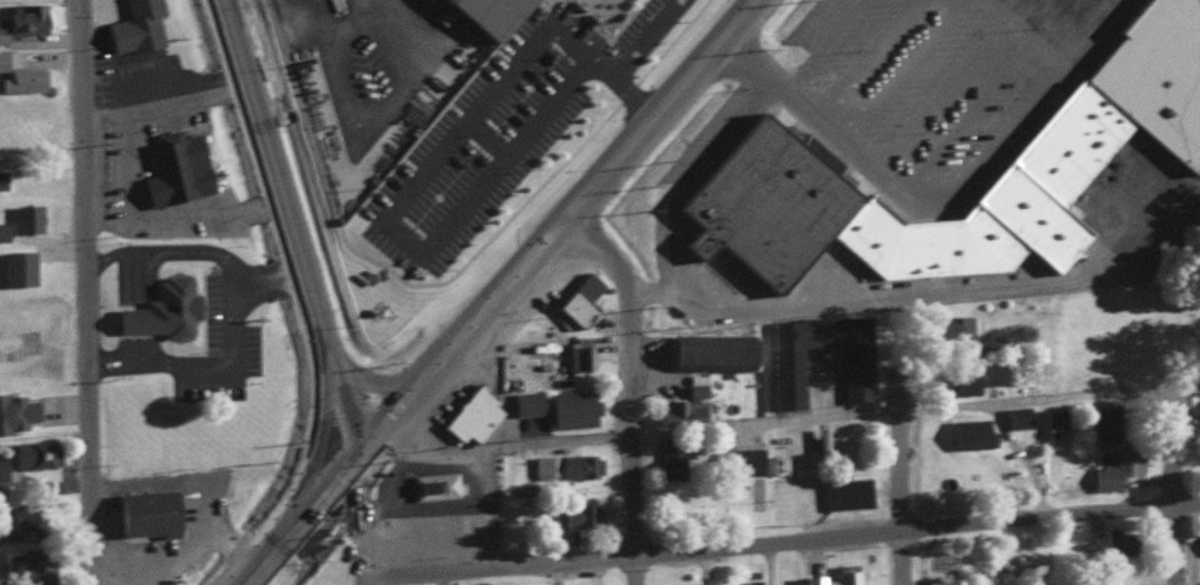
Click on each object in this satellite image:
road: (1104, 8)
building: (506, 13)
building: (21, 18)
road: (731, 19)
road: (416, 21)
road: (373, 24)
parking lot: (657, 24)
building: (133, 25)
road: (1046, 28)
road: (670, 29)
road: (619, 37)
road: (818, 46)
road: (860, 59)
road: (636, 68)
building: (18, 71)
road: (900, 71)
parking lot: (936, 79)
road: (631, 82)
road: (941, 86)
road: (458, 104)
road: (970, 110)
road: (639, 124)
road: (501, 139)
parking lot: (495, 141)
building: (1068, 144)
road: (271, 158)
building: (174, 164)
building: (0, 176)
road: (143, 180)
road: (937, 196)
building: (25, 215)
road: (397, 219)
building: (2, 228)
road: (200, 250)
building: (16, 265)
road: (131, 277)
road: (462, 277)
road: (498, 286)
road: (86, 291)
building: (578, 299)
road: (923, 299)
building: (160, 307)
road: (131, 318)
building: (951, 325)
road: (324, 332)
road: (132, 344)
building: (710, 349)
building: (577, 355)
road: (198, 363)
road: (379, 370)
building: (785, 371)
building: (971, 373)
road: (627, 384)
road: (344, 400)
building: (525, 400)
road: (392, 406)
building: (570, 406)
building: (680, 409)
building: (15, 410)
road: (842, 411)
building: (471, 412)
building: (1016, 415)
building: (1051, 416)
building: (1104, 417)
road: (315, 429)
building: (969, 431)
building: (819, 436)
road: (485, 447)
building: (34, 452)
traffic signals: (354, 453)
building: (671, 457)
building: (740, 458)
building: (578, 463)
building: (543, 464)
building: (1, 468)
building: (1115, 468)
road: (383, 477)
road: (898, 479)
road: (173, 481)
building: (433, 482)
road: (1172, 485)
building: (844, 491)
road: (317, 494)
building: (144, 510)
building: (577, 512)
building: (25, 514)
road: (358, 519)
building: (460, 519)
road: (198, 535)
building: (404, 535)
building: (1113, 539)
road: (779, 540)
road: (262, 561)
road: (767, 563)
building: (844, 573)
building: (676, 583)
building: (1081, 584)

